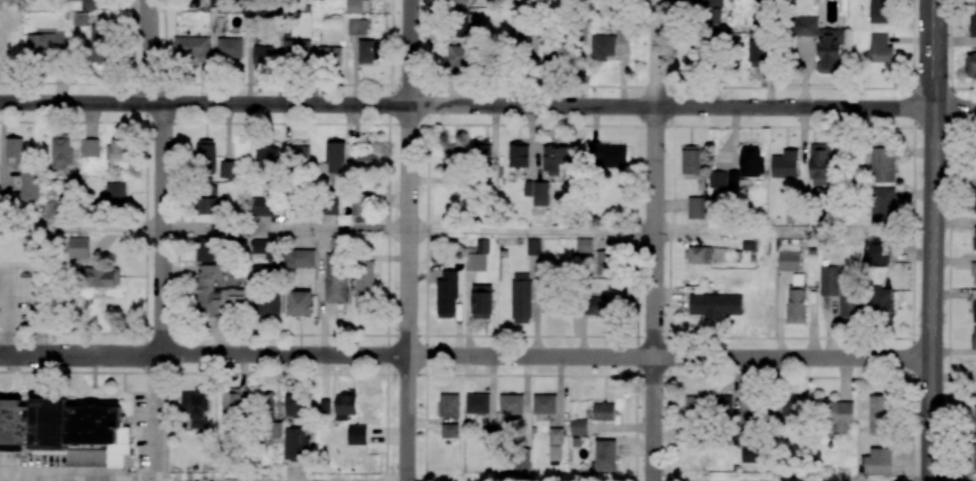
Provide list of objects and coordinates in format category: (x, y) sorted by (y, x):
building: (458, 1)
building: (707, 3)
building: (92, 4)
building: (354, 6)
building: (880, 11)
building: (459, 25)
building: (972, 25)
building: (356, 26)
building: (622, 37)
road: (127, 41)
road: (165, 41)
building: (820, 42)
building: (43, 43)
building: (98, 43)
building: (229, 46)
building: (602, 47)
building: (190, 48)
building: (880, 48)
building: (296, 49)
building: (758, 49)
road: (151, 51)
building: (365, 51)
road: (534, 53)
road: (656, 53)
building: (263, 54)
building: (329, 55)
building: (459, 55)
building: (547, 56)
road: (670, 62)
building: (971, 64)
road: (487, 84)
road: (488, 105)
road: (488, 123)
building: (90, 147)
building: (117, 150)
building: (481, 150)
building: (13, 151)
building: (60, 151)
building: (205, 155)
building: (268, 155)
building: (300, 155)
building: (607, 155)
building: (452, 156)
building: (518, 156)
building: (335, 157)
building: (556, 157)
building: (690, 159)
building: (365, 161)
building: (751, 161)
building: (785, 164)
building: (819, 164)
building: (882, 164)
building: (227, 169)
building: (723, 179)
building: (29, 184)
building: (537, 192)
building: (115, 194)
building: (975, 197)
building: (207, 201)
building: (358, 204)
building: (330, 205)
building: (882, 205)
building: (262, 206)
building: (695, 207)
road: (146, 217)
road: (163, 228)
road: (286, 230)
road: (539, 231)
road: (48, 235)
building: (974, 235)
road: (389, 240)
road: (409, 240)
road: (427, 240)
road: (912, 240)
road: (931, 240)
road: (949, 240)
building: (584, 245)
building: (260, 246)
building: (533, 246)
building: (78, 247)
building: (206, 251)
building: (699, 254)
building: (477, 257)
building: (299, 258)
building: (788, 261)
building: (602, 262)
road: (178, 267)
road: (5, 273)
building: (973, 273)
building: (101, 277)
building: (335, 277)
building: (829, 280)
building: (363, 284)
building: (220, 292)
road: (655, 293)
building: (447, 294)
road: (11, 296)
building: (521, 297)
building: (482, 301)
building: (268, 303)
building: (299, 303)
building: (795, 304)
building: (848, 304)
building: (880, 304)
building: (715, 305)
building: (973, 305)
building: (600, 308)
road: (456, 334)
building: (974, 337)
road: (465, 355)
road: (636, 356)
road: (669, 356)
road: (456, 374)
building: (231, 403)
building: (266, 403)
building: (477, 403)
building: (510, 404)
building: (544, 404)
building: (293, 405)
building: (345, 405)
building: (449, 405)
building: (694, 405)
building: (790, 405)
building: (324, 406)
building: (721, 406)
building: (195, 408)
building: (603, 411)
building: (836, 413)
building: (878, 415)
road: (161, 417)
building: (578, 426)
building: (65, 430)
building: (449, 430)
building: (356, 434)
building: (555, 435)
building: (296, 444)
building: (749, 451)
building: (554, 452)
building: (605, 455)
building: (877, 461)
road: (82, 475)

